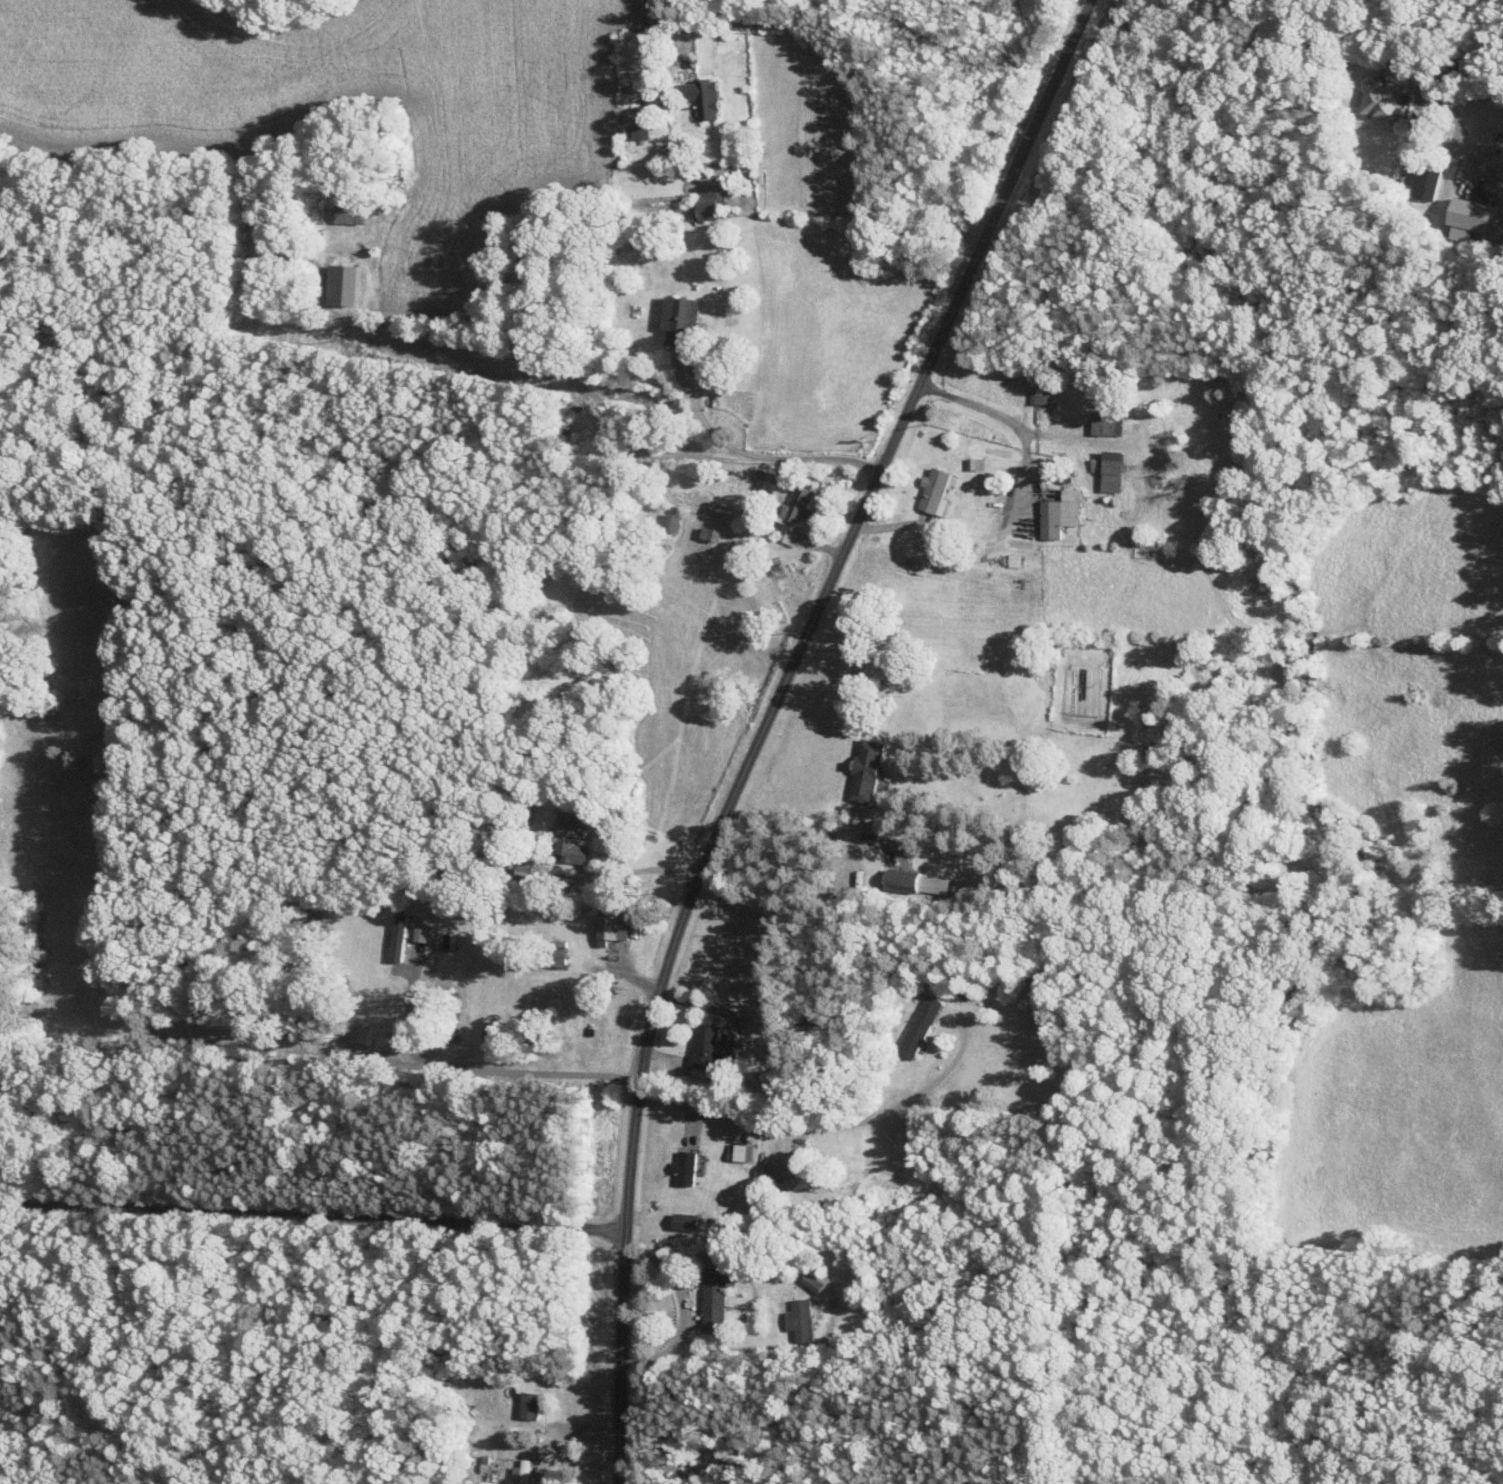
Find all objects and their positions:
road: (841, 67)
road: (1428, 71)
building: (700, 97)
building: (1379, 97)
building: (638, 132)
building: (706, 206)
building: (345, 214)
building: (1466, 217)
building: (339, 284)
building: (677, 318)
road: (688, 392)
building: (1038, 397)
road: (608, 414)
road: (1007, 418)
building: (1104, 424)
building: (1107, 470)
building: (932, 491)
building: (796, 504)
building: (1058, 513)
building: (1012, 560)
road: (767, 719)
building: (864, 770)
road: (796, 834)
building: (568, 839)
road: (642, 870)
building: (914, 883)
building: (609, 928)
building: (417, 933)
building: (396, 936)
road: (407, 1012)
building: (917, 1027)
building: (706, 1049)
road: (320, 1063)
road: (826, 1126)
building: (740, 1152)
building: (683, 1168)
building: (682, 1222)
road: (311, 1224)
building: (813, 1279)
building: (713, 1296)
road: (684, 1312)
building: (799, 1317)
road: (731, 1351)
building: (526, 1408)
building: (520, 1472)

